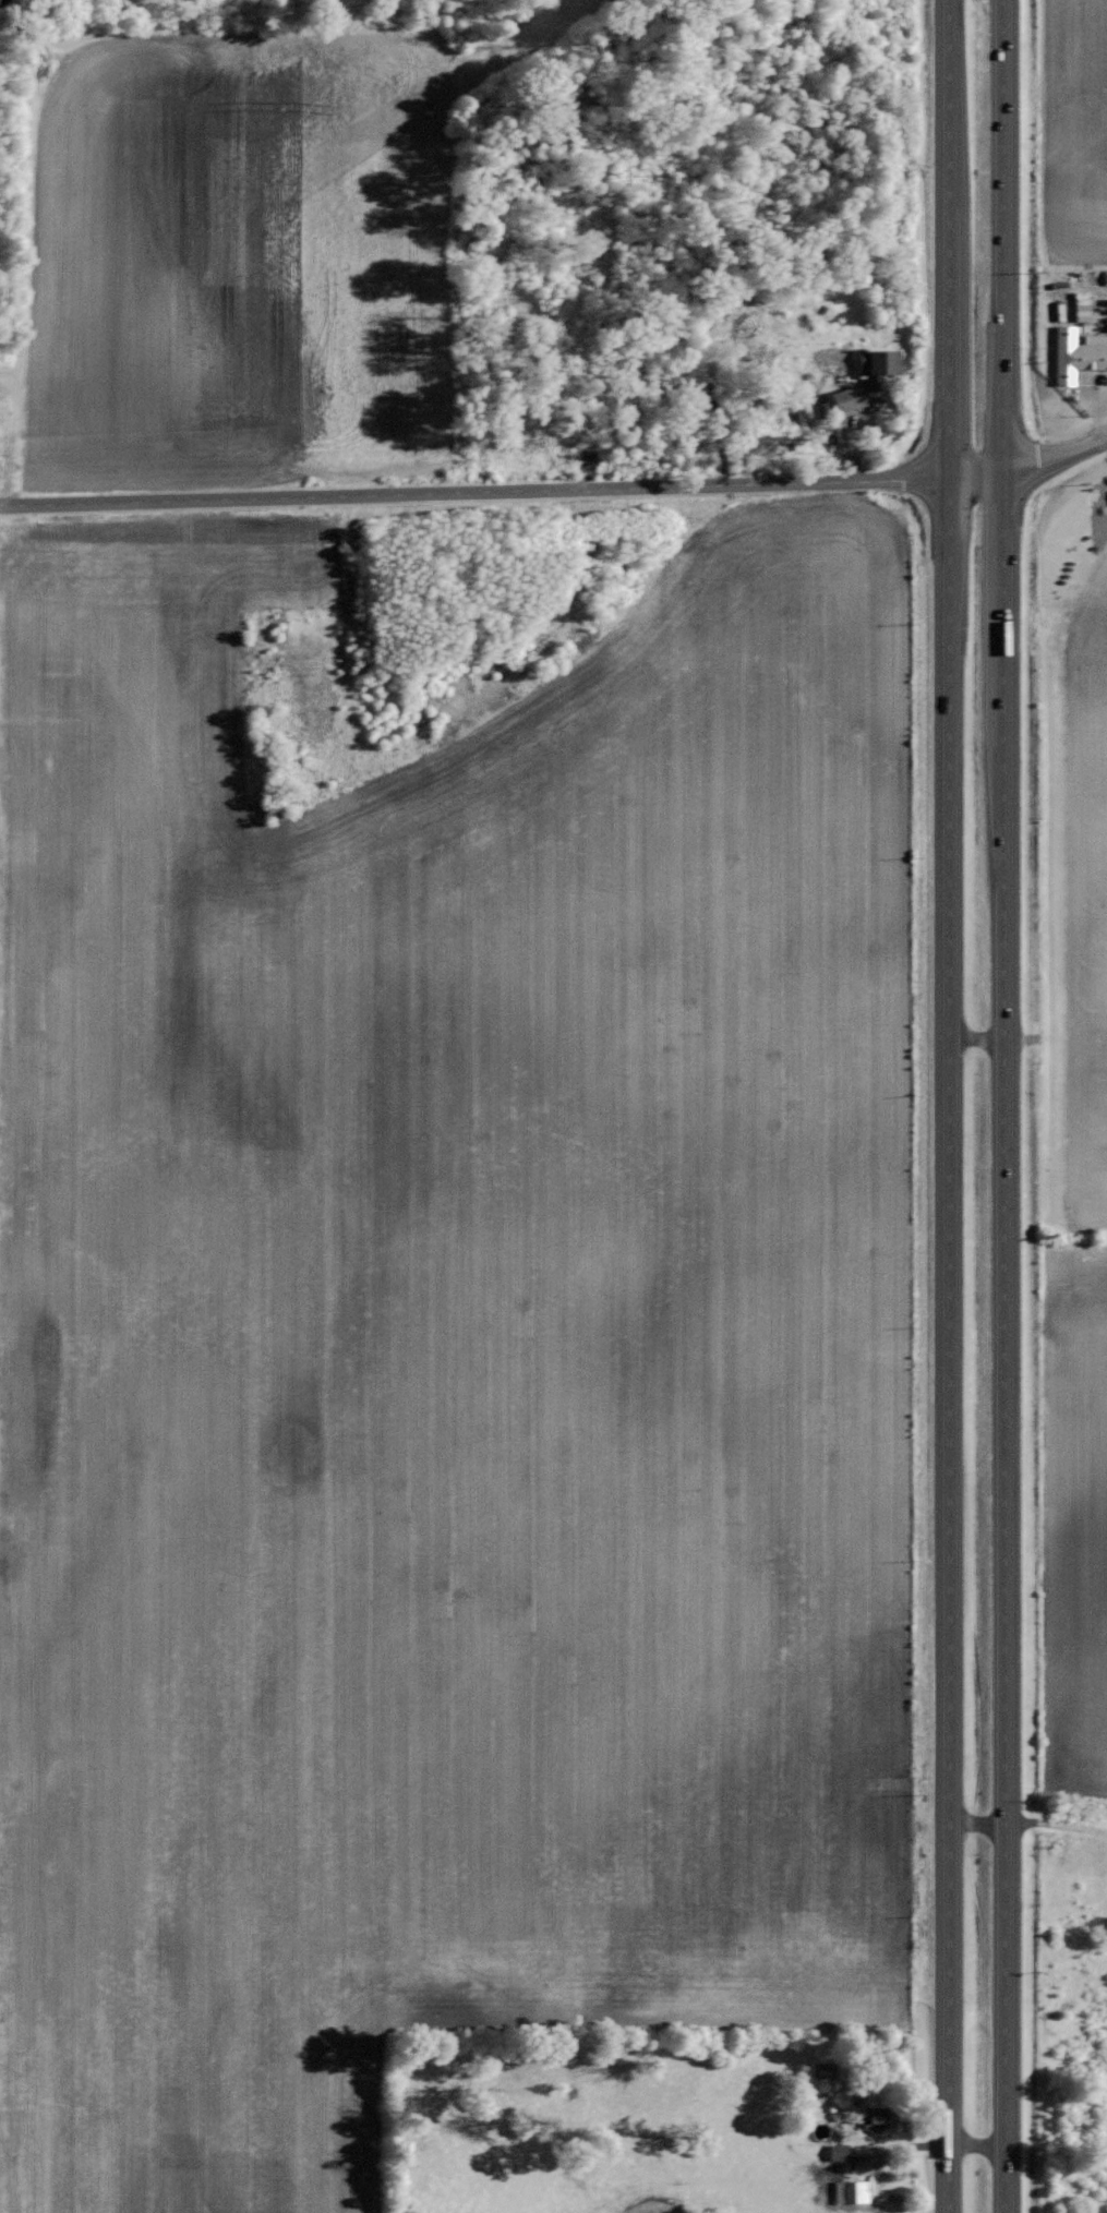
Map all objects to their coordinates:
building: (1081, 309)
building: (1076, 352)
building: (878, 364)
building: (849, 397)
road: (1028, 466)
road: (473, 491)
road: (975, 1038)
road: (948, 1106)
road: (1002, 1106)
building: (879, 2118)
building: (839, 2151)
building: (843, 2190)

